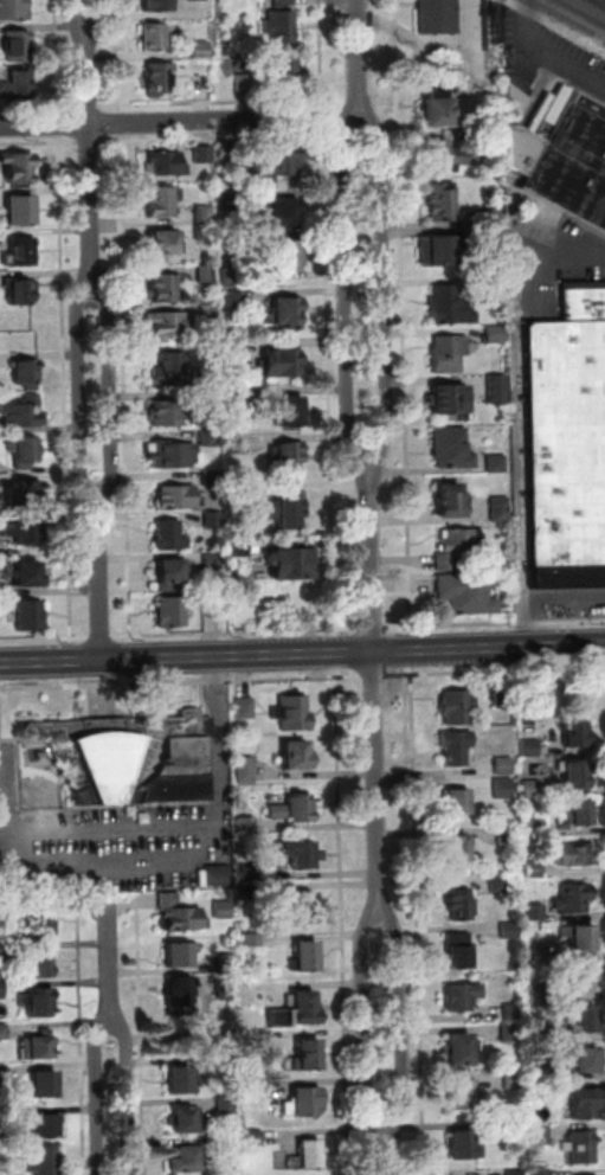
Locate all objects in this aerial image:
building: (197, 0)
building: (283, 4)
building: (157, 5)
road: (591, 7)
road: (394, 9)
building: (14, 11)
building: (433, 15)
road: (75, 18)
road: (101, 18)
building: (490, 24)
road: (555, 24)
building: (281, 27)
road: (395, 30)
building: (155, 37)
road: (411, 39)
building: (19, 49)
building: (202, 50)
road: (547, 51)
road: (117, 56)
road: (59, 57)
road: (359, 57)
building: (287, 76)
building: (159, 81)
building: (200, 82)
building: (246, 82)
building: (19, 89)
road: (229, 102)
road: (39, 108)
road: (89, 108)
building: (440, 109)
road: (179, 121)
road: (118, 122)
road: (62, 124)
road: (85, 141)
road: (40, 142)
building: (229, 153)
building: (436, 153)
building: (561, 153)
building: (205, 155)
road: (91, 160)
building: (166, 161)
building: (283, 161)
building: (255, 167)
building: (19, 171)
building: (163, 198)
building: (230, 199)
building: (442, 200)
building: (283, 207)
building: (22, 213)
building: (205, 213)
building: (205, 232)
building: (161, 242)
building: (443, 248)
building: (24, 253)
building: (287, 253)
building: (205, 275)
building: (231, 277)
building: (161, 287)
building: (21, 291)
building: (233, 300)
building: (449, 304)
road: (362, 307)
building: (285, 310)
building: (208, 313)
road: (329, 314)
building: (165, 323)
building: (493, 333)
road: (403, 335)
building: (448, 348)
building: (233, 349)
building: (281, 361)
building: (25, 371)
building: (169, 372)
road: (125, 384)
road: (65, 385)
building: (494, 387)
road: (109, 391)
road: (81, 392)
road: (514, 392)
building: (450, 396)
building: (236, 398)
building: (208, 399)
building: (22, 411)
building: (290, 411)
building: (167, 413)
building: (211, 437)
building: (564, 441)
building: (449, 442)
building: (234, 444)
building: (22, 449)
building: (172, 455)
building: (288, 455)
building: (493, 462)
building: (212, 477)
building: (22, 492)
building: (237, 492)
building: (450, 494)
building: (174, 496)
building: (496, 507)
building: (288, 509)
building: (213, 519)
building: (21, 532)
building: (169, 534)
building: (455, 537)
building: (239, 551)
building: (213, 559)
building: (290, 560)
building: (169, 571)
building: (27, 573)
road: (99, 576)
building: (465, 589)
road: (541, 601)
building: (211, 606)
building: (170, 610)
building: (30, 615)
road: (495, 622)
road: (373, 627)
road: (237, 631)
road: (101, 636)
road: (45, 638)
road: (488, 648)
road: (412, 654)
road: (186, 657)
road: (495, 672)
road: (373, 675)
road: (181, 681)
building: (503, 700)
building: (457, 706)
building: (244, 707)
road: (373, 710)
building: (292, 713)
building: (577, 732)
building: (456, 746)
building: (530, 747)
building: (296, 752)
building: (103, 757)
building: (179, 763)
building: (503, 765)
building: (244, 769)
building: (575, 773)
building: (503, 788)
building: (532, 789)
building: (457, 802)
building: (294, 808)
building: (577, 814)
building: (246, 826)
road: (186, 827)
building: (535, 829)
building: (507, 834)
building: (455, 848)
building: (300, 852)
building: (572, 854)
building: (534, 869)
building: (251, 871)
building: (217, 875)
building: (497, 882)
building: (251, 891)
building: (574, 899)
building: (459, 903)
road: (125, 907)
building: (221, 908)
building: (302, 908)
road: (86, 910)
building: (534, 913)
building: (2, 914)
building: (180, 914)
building: (40, 925)
road: (342, 925)
road: (418, 925)
building: (509, 930)
building: (580, 936)
building: (251, 940)
building: (458, 950)
building: (536, 951)
building: (1, 952)
building: (178, 955)
building: (305, 955)
building: (43, 962)
building: (224, 962)
road: (109, 969)
building: (581, 980)
building: (224, 982)
building: (1, 989)
building: (539, 993)
building: (178, 995)
building: (461, 996)
building: (40, 1002)
building: (297, 1009)
building: (513, 1012)
building: (584, 1019)
road: (401, 1022)
road: (363, 1026)
building: (2, 1032)
building: (510, 1032)
building: (542, 1034)
road: (140, 1039)
building: (258, 1039)
road: (81, 1042)
building: (461, 1047)
building: (36, 1048)
building: (307, 1054)
building: (585, 1059)
building: (226, 1065)
building: (545, 1067)
building: (2, 1073)
building: (181, 1079)
building: (513, 1080)
building: (45, 1083)
building: (256, 1091)
building: (463, 1093)
building: (541, 1094)
road: (98, 1097)
road: (124, 1098)
building: (305, 1099)
building: (584, 1102)
building: (225, 1104)
building: (4, 1113)
building: (186, 1119)
building: (45, 1125)
building: (507, 1130)
building: (541, 1137)
building: (253, 1138)
building: (229, 1142)
building: (463, 1145)
building: (580, 1147)
road: (387, 1151)
building: (305, 1155)
building: (184, 1157)
building: (45, 1161)
building: (538, 1171)
building: (4, 1173)
building: (515, 1173)

